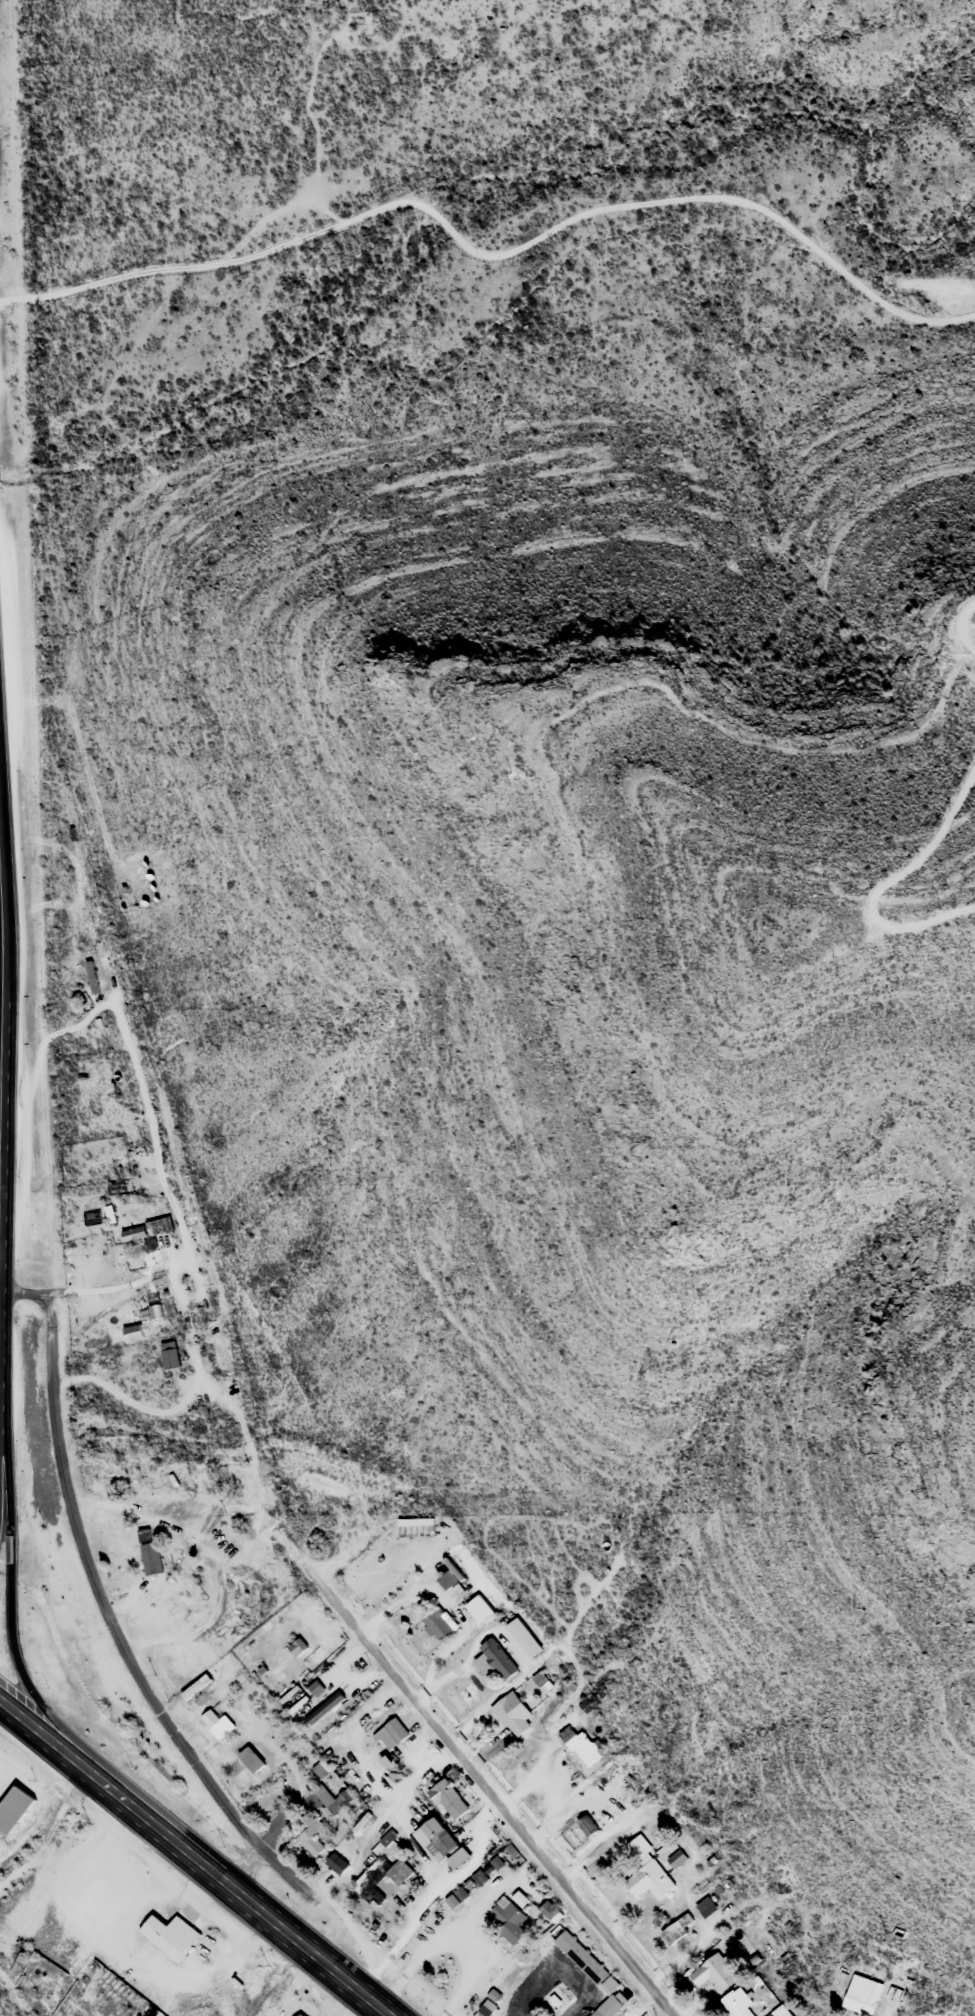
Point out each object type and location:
road: (495, 254)
road: (962, 626)
road: (887, 881)
building: (161, 1224)
building: (133, 1234)
building: (170, 1354)
building: (149, 1551)
building: (446, 1580)
building: (278, 1600)
road: (99, 1602)
building: (473, 1612)
road: (10, 1620)
building: (436, 1626)
building: (523, 1637)
building: (254, 1643)
building: (308, 1653)
building: (494, 1659)
building: (323, 1709)
building: (512, 1714)
building: (216, 1723)
building: (391, 1734)
road: (51, 1740)
building: (581, 1747)
building: (251, 1759)
road: (472, 1767)
building: (448, 1799)
building: (328, 1800)
building: (11, 1808)
building: (587, 1825)
building: (310, 1834)
building: (387, 1838)
building: (438, 1839)
building: (458, 1858)
building: (676, 1859)
road: (244, 1861)
building: (336, 1864)
building: (647, 1871)
building: (381, 1877)
road: (250, 1894)
building: (705, 1907)
building: (548, 1910)
building: (511, 1919)
building: (678, 1928)
building: (1, 1935)
building: (166, 1935)
building: (10, 1953)
building: (714, 1973)
building: (593, 1974)
building: (861, 1995)
building: (736, 2003)
building: (294, 2014)
building: (298, 2015)

